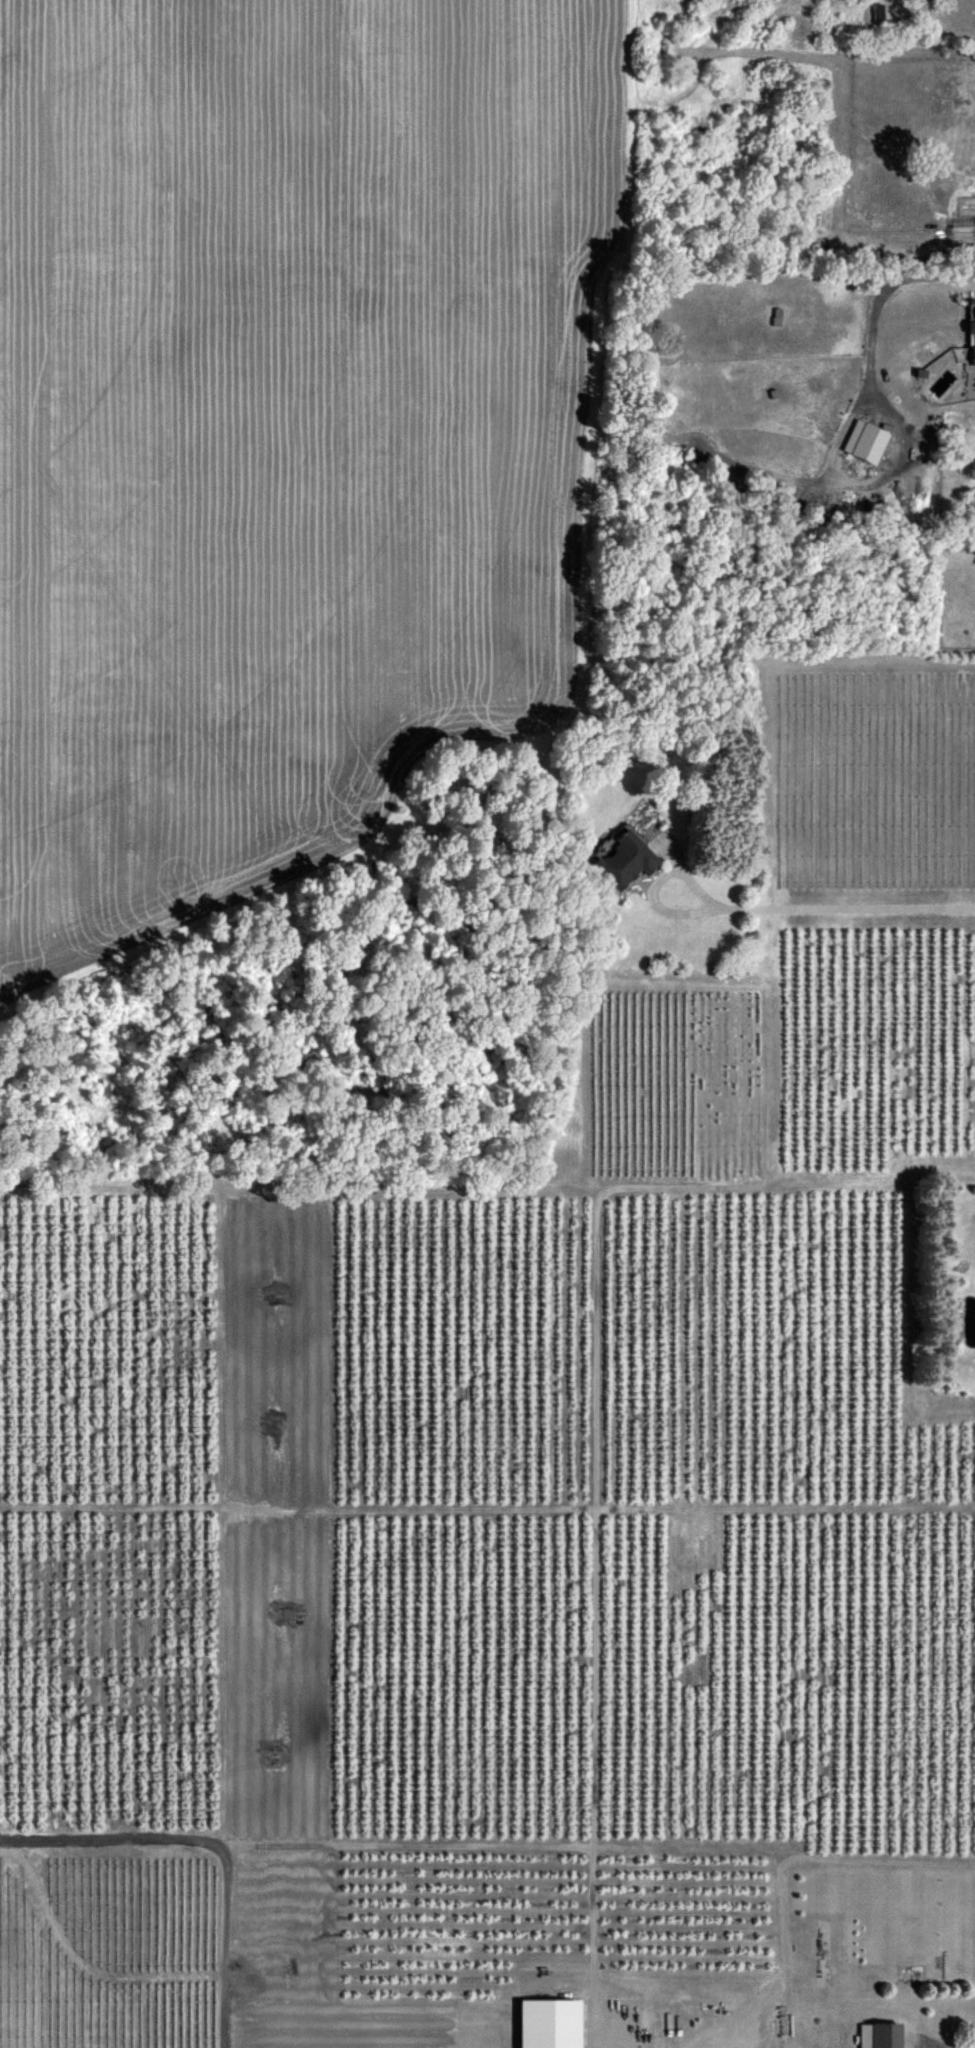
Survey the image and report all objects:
building: (879, 13)
building: (972, 335)
building: (626, 861)
road: (658, 886)
road: (845, 911)
building: (863, 2035)
road: (923, 2045)

